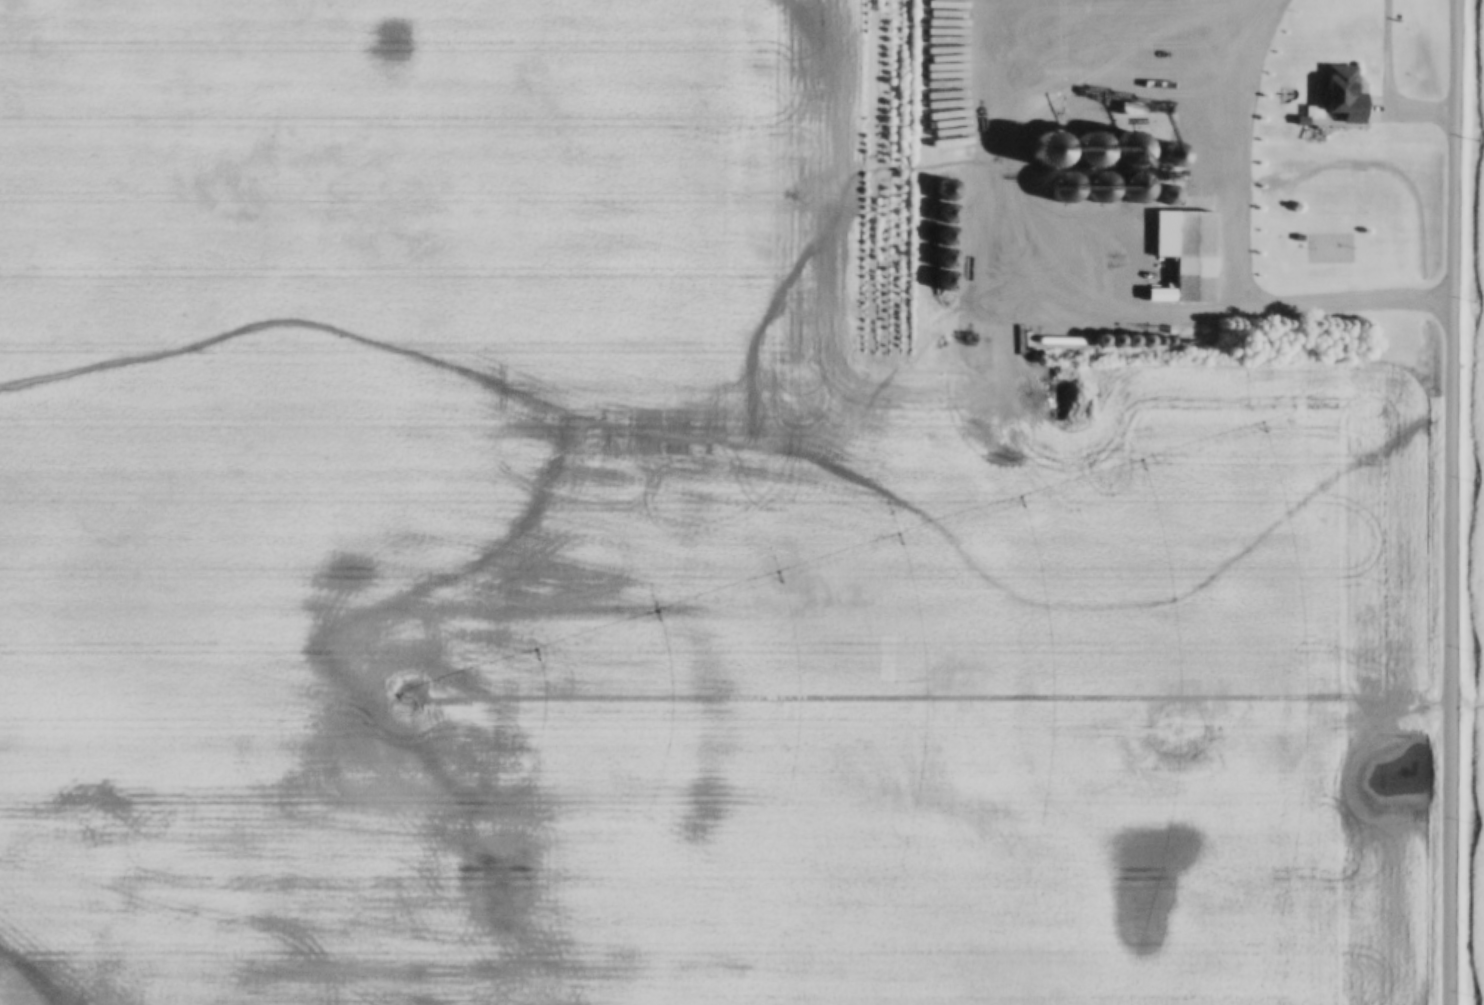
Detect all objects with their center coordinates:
building: (1348, 94)
road: (1382, 119)
building: (1329, 248)
road: (1239, 249)
road: (1451, 502)

